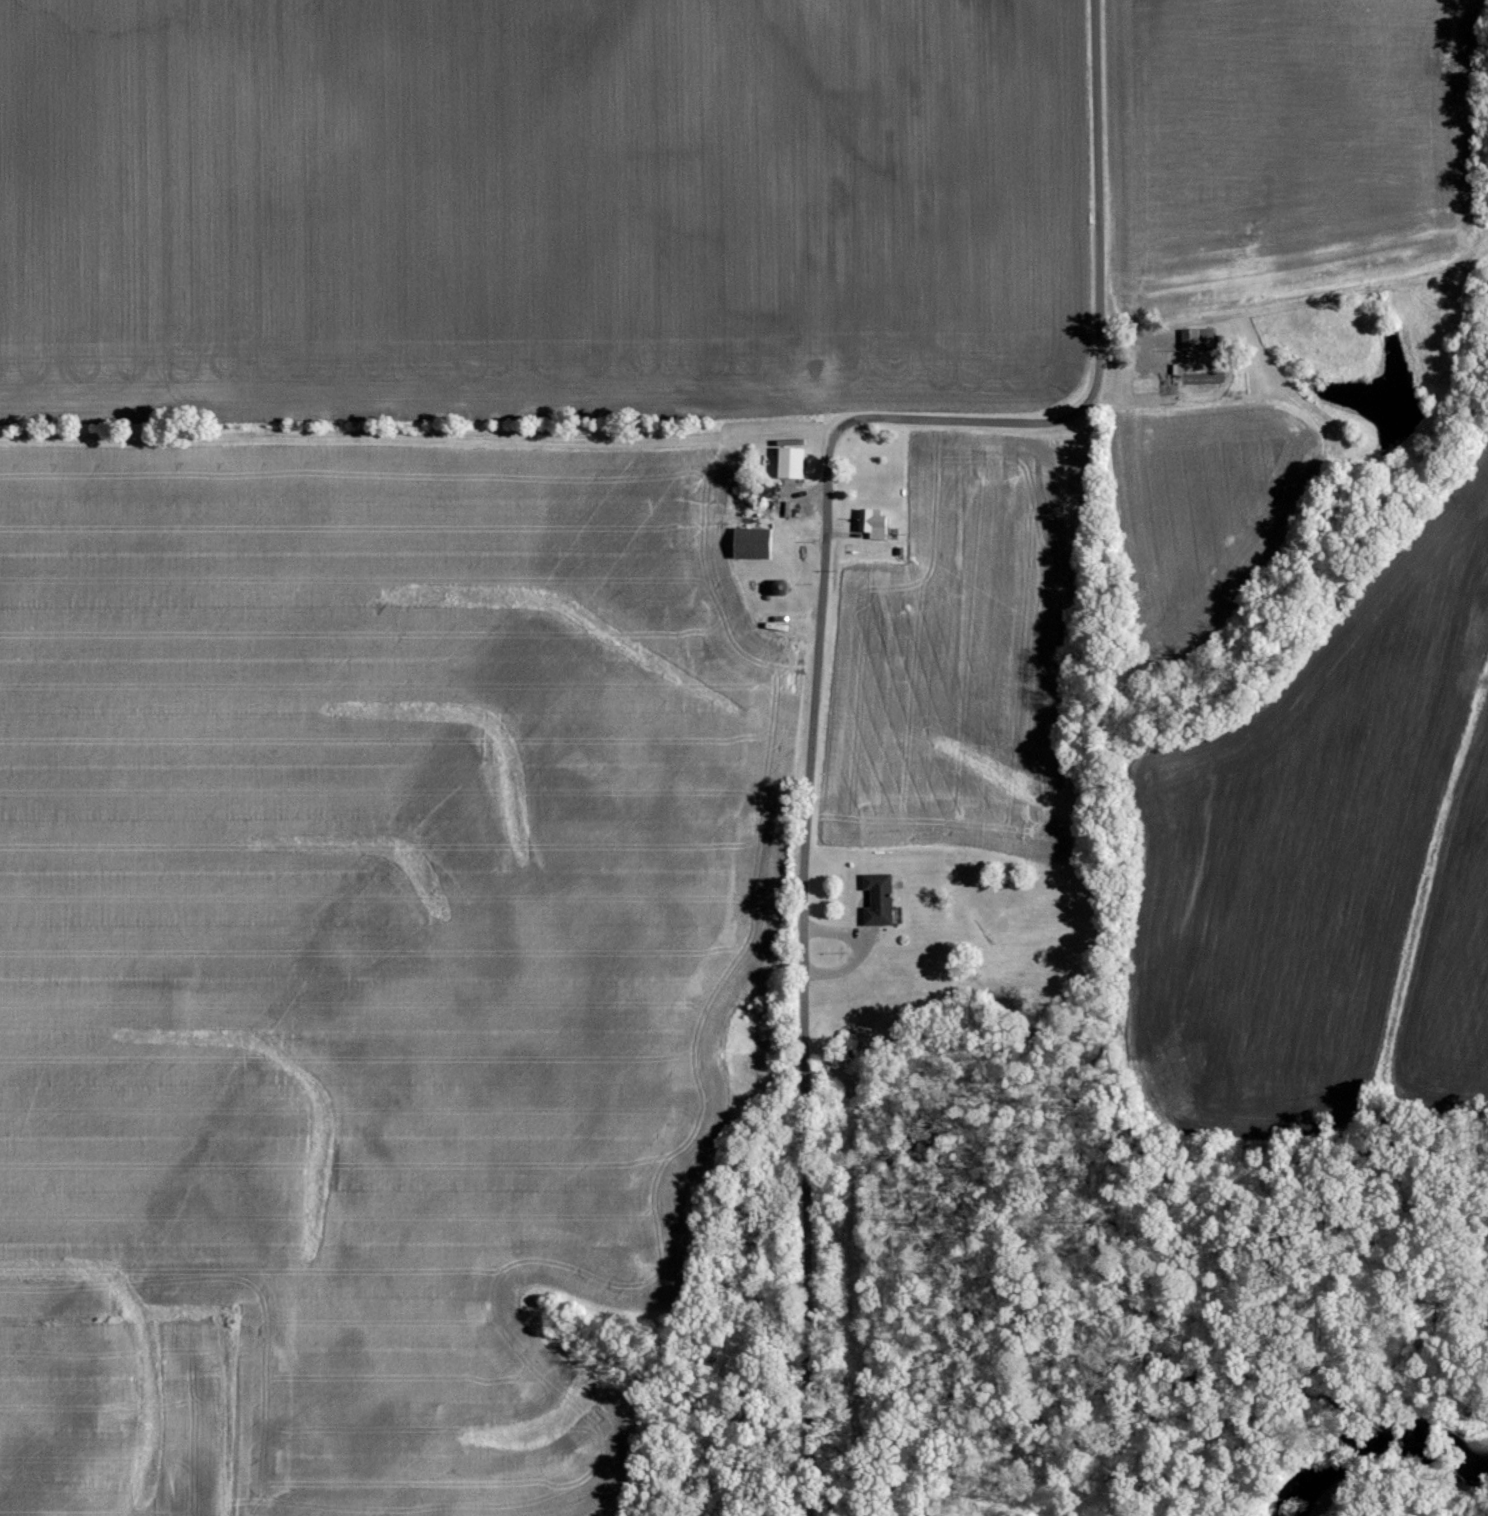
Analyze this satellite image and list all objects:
building: (1199, 339)
building: (792, 463)
building: (875, 523)
building: (754, 544)
road: (809, 662)
building: (881, 900)
river: (1389, 1467)

